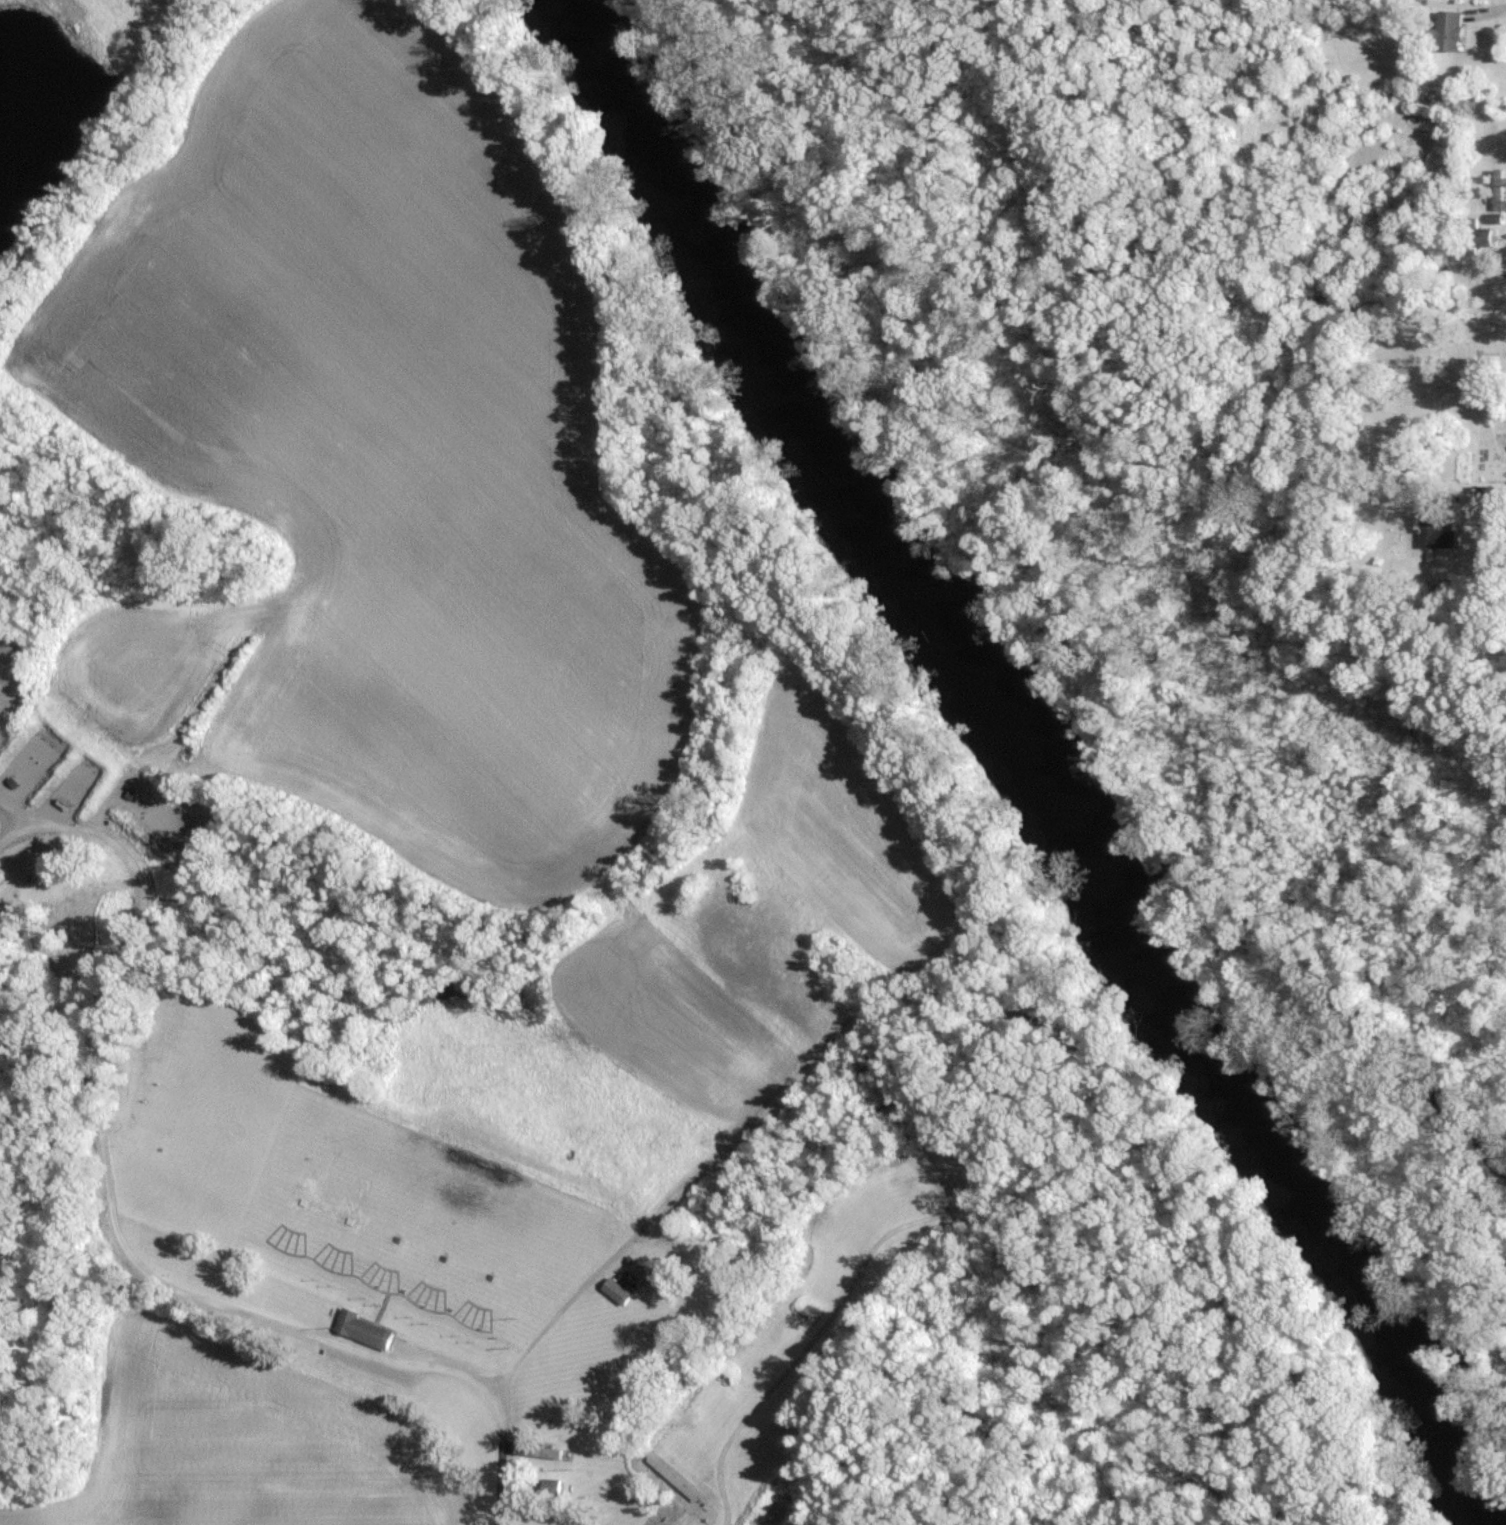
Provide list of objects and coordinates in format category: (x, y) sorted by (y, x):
building: (1452, 32)
building: (1436, 529)
river: (1029, 753)
building: (2, 876)
road: (106, 1197)
building: (619, 1290)
building: (363, 1328)
road: (541, 1334)
road: (799, 1381)
building: (540, 1450)

